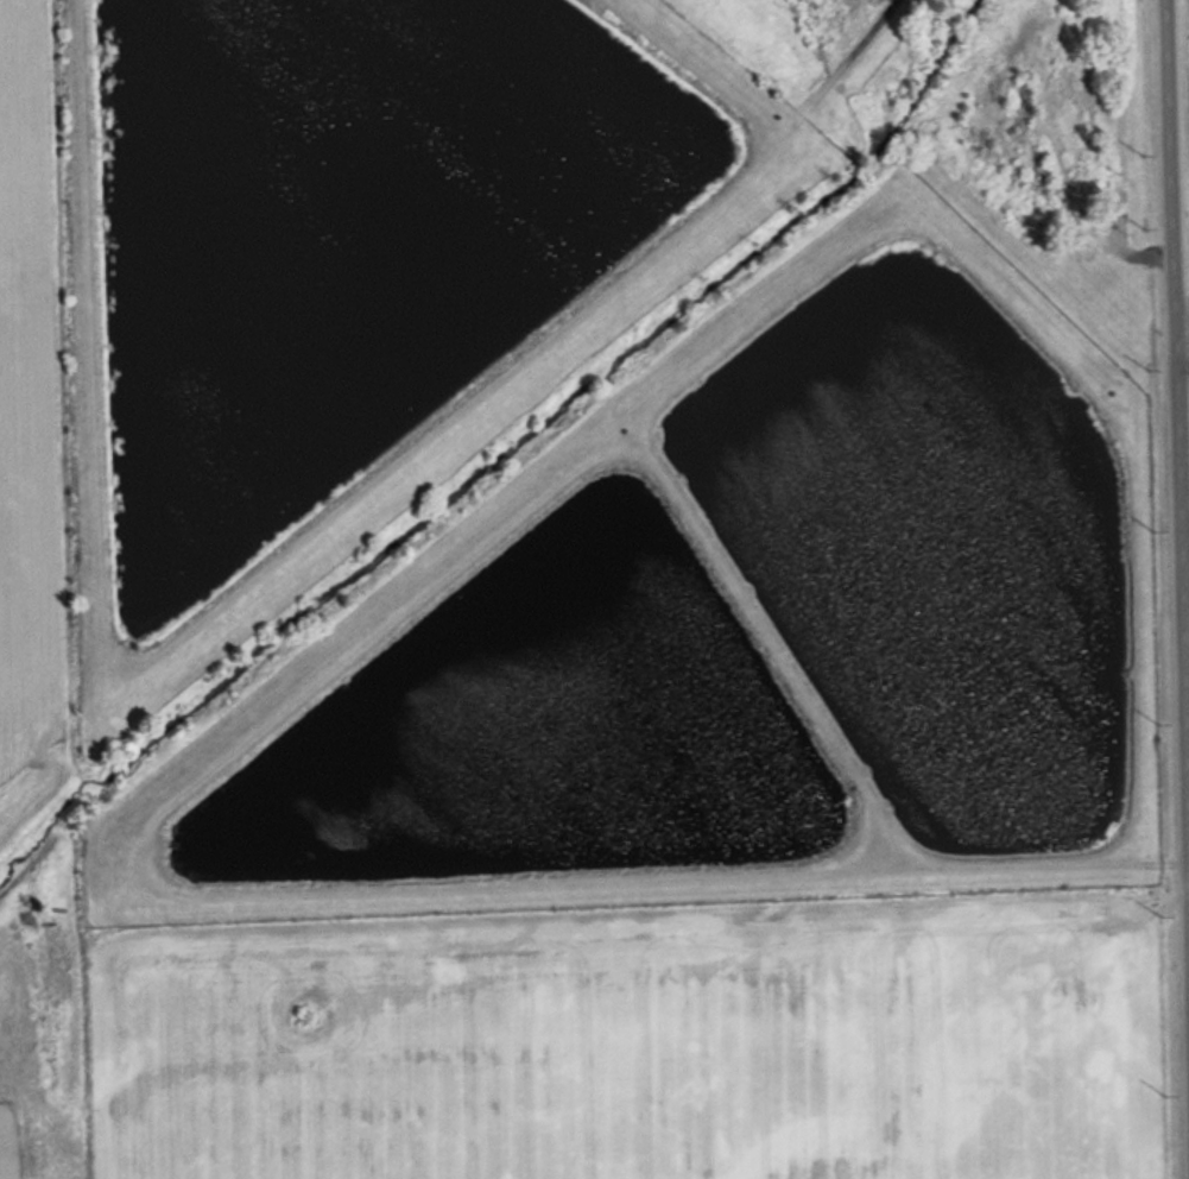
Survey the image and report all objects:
road: (1177, 311)
road: (1172, 478)
road: (25, 794)

